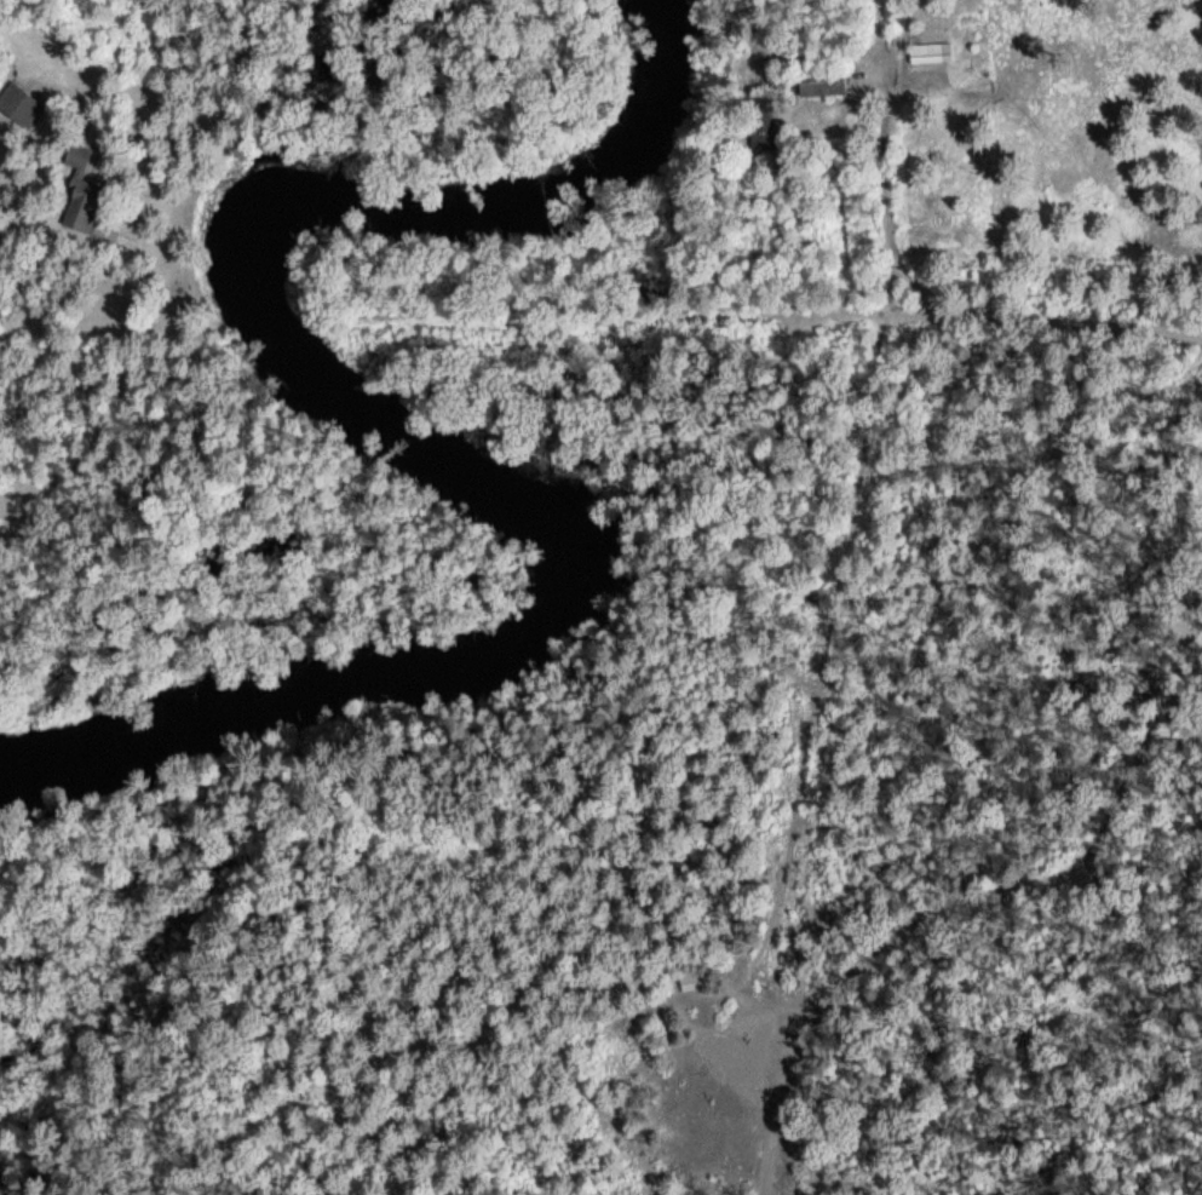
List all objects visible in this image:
building: (930, 51)
building: (819, 80)
building: (16, 104)
building: (759, 123)
building: (81, 197)
road: (886, 298)
road: (52, 331)
river: (402, 439)
road: (1029, 855)
building: (688, 978)

